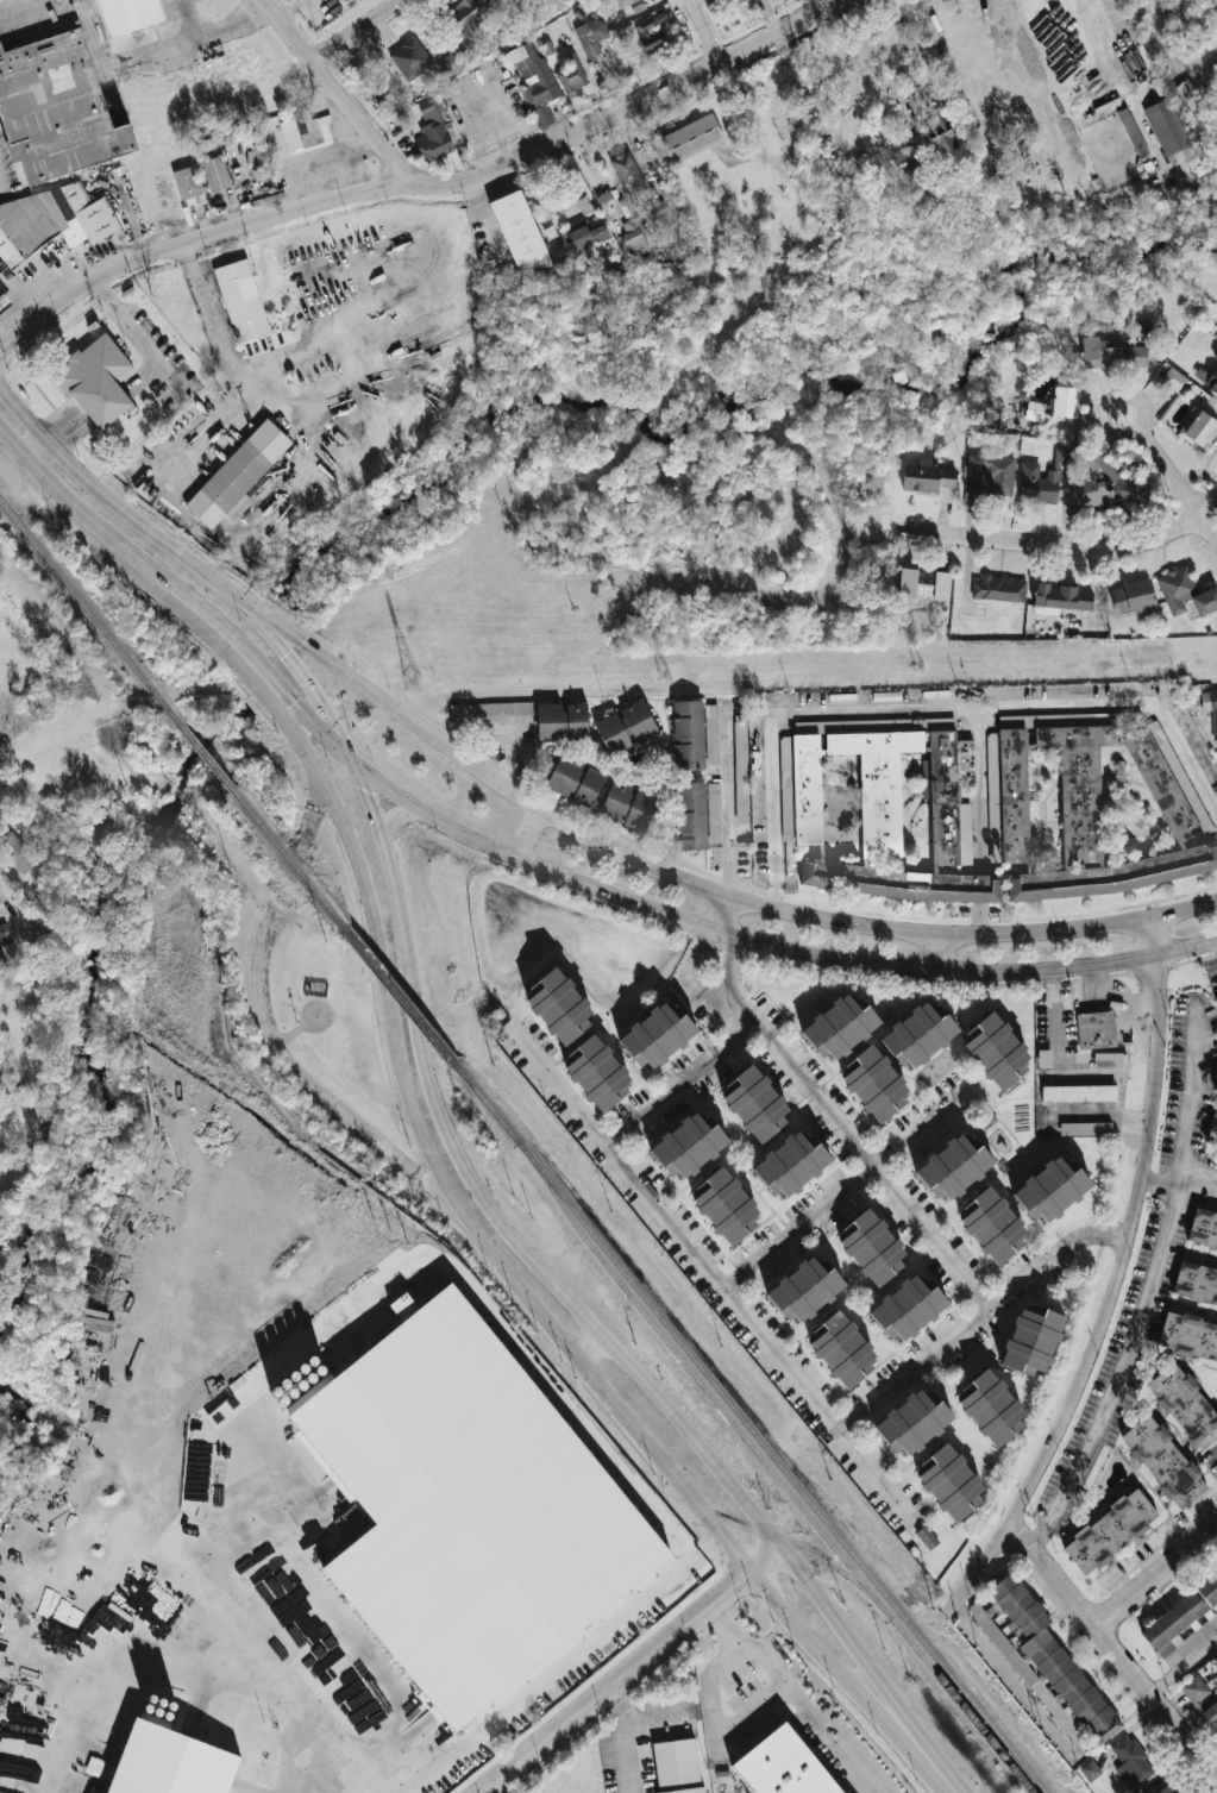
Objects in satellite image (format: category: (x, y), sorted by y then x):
road: (1, 0)
road: (0, 1)
building: (735, 1)
building: (494, 2)
building: (553, 2)
building: (625, 2)
building: (130, 14)
building: (465, 15)
road: (188, 19)
road: (362, 31)
road: (701, 33)
building: (650, 36)
road: (196, 37)
building: (591, 37)
road: (1104, 49)
road: (873, 55)
building: (409, 59)
building: (454, 61)
building: (570, 74)
building: (533, 76)
road: (335, 86)
building: (56, 112)
building: (1166, 127)
building: (432, 131)
building: (305, 132)
building: (940, 134)
building: (691, 139)
building: (259, 159)
building: (912, 161)
building: (626, 170)
building: (215, 174)
road: (424, 181)
building: (186, 183)
building: (603, 199)
building: (663, 209)
building: (58, 220)
building: (519, 231)
building: (633, 238)
building: (576, 243)
building: (2, 269)
building: (767, 288)
building: (243, 301)
building: (4, 302)
road: (130, 330)
building: (1100, 352)
building: (1137, 357)
building: (1215, 357)
building: (1174, 381)
building: (1211, 382)
building: (96, 383)
road: (251, 399)
building: (1065, 402)
building: (1034, 412)
road: (24, 414)
road: (1106, 414)
building: (1199, 430)
road: (13, 443)
road: (37, 450)
building: (990, 474)
building: (239, 477)
building: (926, 477)
building: (1042, 478)
road: (89, 483)
road: (1177, 484)
road: (52, 487)
building: (1127, 493)
building: (1092, 494)
road: (1064, 544)
road: (127, 554)
building: (923, 584)
building: (998, 589)
building: (1175, 589)
building: (1061, 598)
building: (1133, 598)
building: (1205, 602)
railway: (89, 613)
road: (218, 622)
road: (263, 632)
power tower: (918, 669)
power tower: (661, 677)
power tower: (413, 684)
power tower: (59, 694)
building: (1210, 707)
building: (490, 710)
road: (929, 710)
road: (303, 715)
building: (562, 722)
building: (625, 728)
building: (713, 728)
building: (688, 734)
railway: (206, 757)
road: (513, 759)
traffic signals: (356, 772)
building: (740, 772)
building: (575, 782)
building: (714, 800)
road: (727, 800)
building: (628, 807)
road: (369, 809)
building: (1100, 809)
building: (876, 810)
road: (393, 814)
building: (690, 816)
road: (978, 821)
road: (525, 836)
road: (598, 844)
building: (17, 852)
railway: (290, 860)
road: (1183, 908)
road: (720, 915)
building: (4, 935)
road: (769, 948)
road: (700, 952)
road: (934, 952)
road: (727, 961)
road: (705, 989)
railway: (402, 997)
building: (1216, 1001)
building: (558, 1007)
road: (738, 1010)
building: (839, 1028)
building: (1096, 1030)
building: (657, 1036)
building: (917, 1036)
road: (1054, 1051)
building: (995, 1052)
building: (596, 1073)
road: (309, 1083)
building: (873, 1084)
road: (679, 1085)
building: (1215, 1087)
building: (1078, 1093)
building: (754, 1104)
building: (1085, 1129)
building: (1212, 1131)
building: (688, 1147)
building: (791, 1165)
road: (871, 1168)
building: (953, 1168)
road: (1198, 1176)
road: (852, 1185)
road: (1159, 1185)
building: (1050, 1191)
building: (724, 1206)
building: (992, 1225)
building: (1203, 1228)
road: (482, 1242)
building: (872, 1248)
road: (714, 1277)
road: (1117, 1283)
building: (1196, 1284)
road: (1147, 1289)
building: (804, 1291)
building: (908, 1308)
road: (584, 1310)
road: (979, 1315)
building: (1188, 1336)
building: (1031, 1342)
road: (589, 1344)
building: (841, 1349)
building: (296, 1380)
building: (1185, 1405)
building: (990, 1408)
building: (912, 1423)
railway: (749, 1431)
building: (1163, 1462)
railway: (771, 1469)
railway: (552, 1478)
building: (949, 1482)
building: (466, 1507)
building: (1110, 1531)
building: (926, 1537)
railway: (846, 1575)
road: (1155, 1576)
building: (238, 1593)
building: (214, 1604)
building: (1183, 1620)
road: (1114, 1651)
road: (563, 1665)
building: (1047, 1667)
road: (1184, 1668)
road: (634, 1672)
road: (176, 1673)
road: (1017, 1684)
road: (795, 1695)
building: (1202, 1701)
road: (717, 1725)
road: (631, 1738)
road: (927, 1756)
building: (1133, 1758)
building: (168, 1763)
building: (784, 1766)
building: (678, 1767)
building: (2, 1768)
road: (310, 1770)
building: (1090, 1770)
road: (351, 1778)
building: (1165, 1789)
building: (1, 1792)

